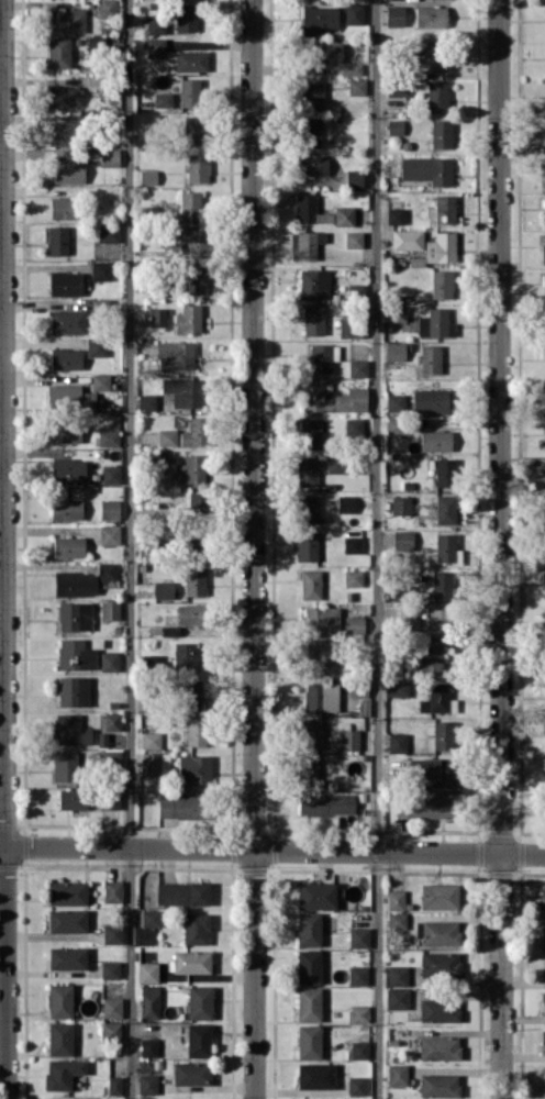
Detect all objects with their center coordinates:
building: (107, 9)
building: (353, 14)
building: (394, 14)
building: (430, 15)
building: (186, 16)
building: (320, 19)
building: (67, 20)
building: (156, 22)
building: (155, 46)
building: (59, 52)
building: (326, 52)
building: (429, 58)
building: (190, 60)
building: (351, 68)
building: (356, 86)
building: (397, 88)
building: (189, 92)
building: (62, 95)
building: (312, 95)
building: (436, 96)
building: (162, 99)
road: (1, 109)
building: (394, 126)
building: (193, 129)
building: (60, 133)
building: (308, 133)
building: (441, 133)
building: (109, 157)
building: (312, 164)
building: (197, 167)
building: (426, 168)
building: (67, 170)
building: (543, 174)
building: (147, 176)
building: (354, 178)
building: (189, 204)
building: (62, 208)
building: (444, 208)
building: (310, 210)
building: (544, 211)
building: (344, 215)
building: (396, 215)
building: (109, 232)
building: (353, 238)
building: (407, 238)
building: (57, 240)
building: (305, 244)
building: (189, 245)
building: (441, 247)
building: (543, 248)
building: (100, 270)
building: (543, 278)
building: (194, 280)
building: (65, 282)
building: (314, 282)
building: (442, 284)
building: (397, 312)
building: (157, 317)
building: (187, 319)
building: (313, 320)
building: (67, 321)
building: (435, 323)
building: (348, 326)
road: (1, 329)
building: (96, 345)
building: (394, 351)
building: (174, 355)
building: (322, 357)
building: (65, 358)
building: (430, 358)
building: (357, 367)
building: (100, 381)
building: (183, 391)
building: (69, 397)
building: (333, 399)
building: (430, 400)
building: (146, 401)
building: (394, 401)
building: (394, 424)
building: (354, 425)
building: (64, 431)
building: (194, 432)
building: (311, 433)
building: (166, 436)
building: (108, 437)
building: (435, 440)
building: (334, 464)
building: (191, 469)
building: (68, 470)
building: (308, 470)
building: (445, 471)
building: (111, 474)
building: (345, 503)
building: (400, 504)
building: (66, 509)
building: (109, 509)
building: (307, 509)
building: (445, 509)
building: (544, 513)
building: (109, 534)
building: (402, 540)
building: (194, 541)
building: (352, 544)
building: (68, 546)
building: (305, 546)
building: (445, 547)
road: (254, 548)
road: (3, 549)
road: (130, 549)
road: (378, 549)
road: (501, 549)
building: (107, 570)
building: (353, 577)
building: (194, 580)
building: (75, 582)
building: (310, 584)
building: (442, 584)
building: (163, 589)
building: (109, 609)
building: (189, 614)
building: (74, 615)
building: (408, 615)
building: (321, 621)
building: (437, 622)
building: (354, 624)
building: (163, 630)
building: (76, 654)
building: (185, 655)
building: (322, 659)
building: (109, 660)
building: (427, 660)
building: (358, 687)
building: (396, 688)
building: (73, 690)
building: (192, 692)
building: (320, 697)
building: (435, 697)
building: (111, 721)
building: (69, 730)
building: (196, 731)
building: (311, 734)
building: (443, 734)
building: (348, 739)
building: (151, 740)
building: (396, 742)
building: (111, 758)
building: (155, 763)
building: (65, 766)
building: (193, 769)
building: (308, 770)
building: (433, 770)
building: (544, 778)
building: (109, 798)
building: (71, 799)
building: (325, 803)
building: (423, 807)
road: (271, 851)
building: (112, 890)
building: (66, 892)
building: (182, 892)
building: (315, 895)
building: (438, 896)
building: (544, 897)
building: (394, 899)
building: (149, 917)
building: (66, 920)
building: (396, 920)
building: (196, 928)
building: (308, 929)
building: (437, 932)
building: (112, 933)
building: (544, 935)
building: (358, 936)
building: (67, 957)
building: (191, 962)
building: (440, 964)
building: (309, 966)
building: (544, 968)
building: (110, 969)
building: (147, 972)
building: (357, 975)
building: (397, 975)
building: (396, 998)
building: (59, 1000)
building: (149, 1001)
building: (199, 1001)
building: (544, 1002)
building: (309, 1003)
building: (111, 1007)
building: (438, 1010)
building: (358, 1013)
building: (111, 1031)
building: (59, 1037)
building: (198, 1040)
building: (543, 1041)
building: (309, 1042)
building: (148, 1046)
building: (438, 1047)
building: (358, 1050)
building: (62, 1073)
building: (191, 1073)
building: (396, 1074)
building: (315, 1075)
building: (544, 1078)
building: (147, 1083)
building: (113, 1085)
building: (356, 1085)
building: (438, 1085)
building: (68, 1098)

